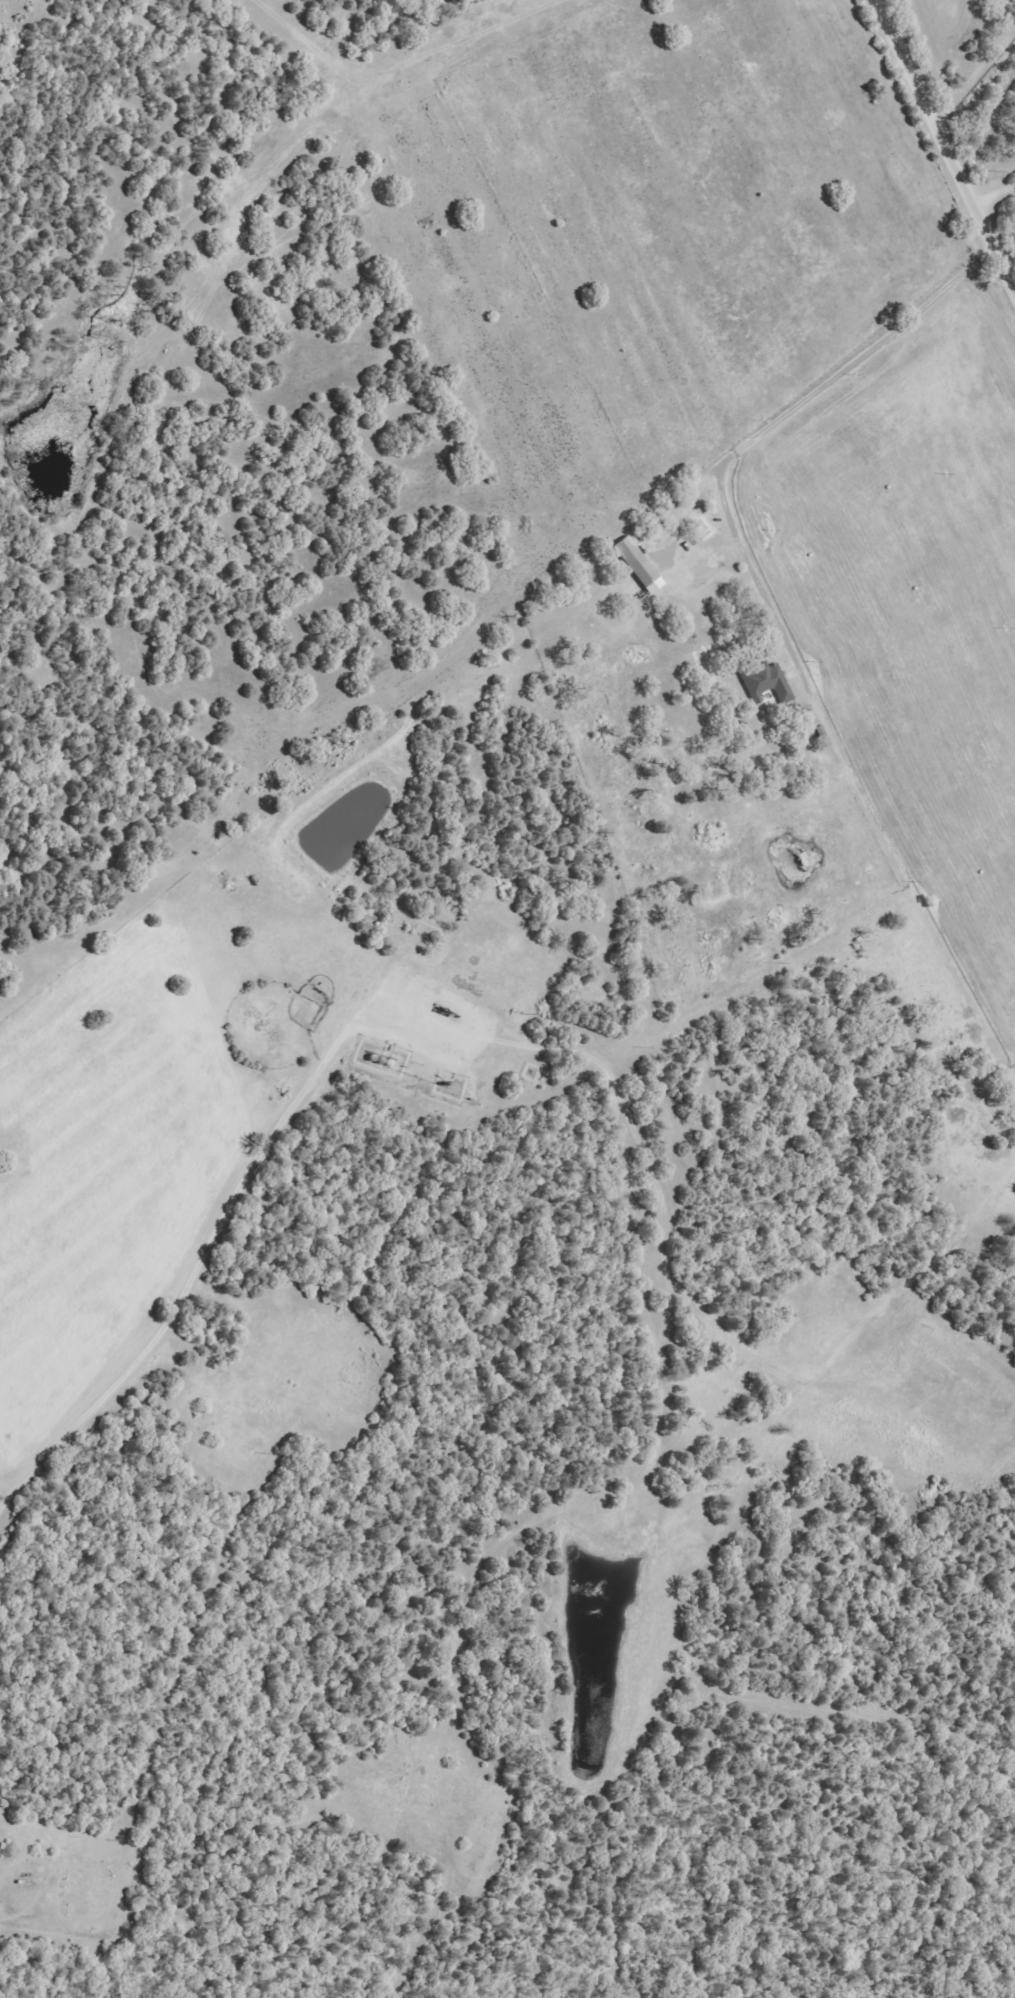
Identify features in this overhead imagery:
road: (946, 146)
building: (637, 565)
road: (777, 616)
building: (765, 684)
road: (446, 1032)
road: (428, 1906)
road: (10, 1907)

